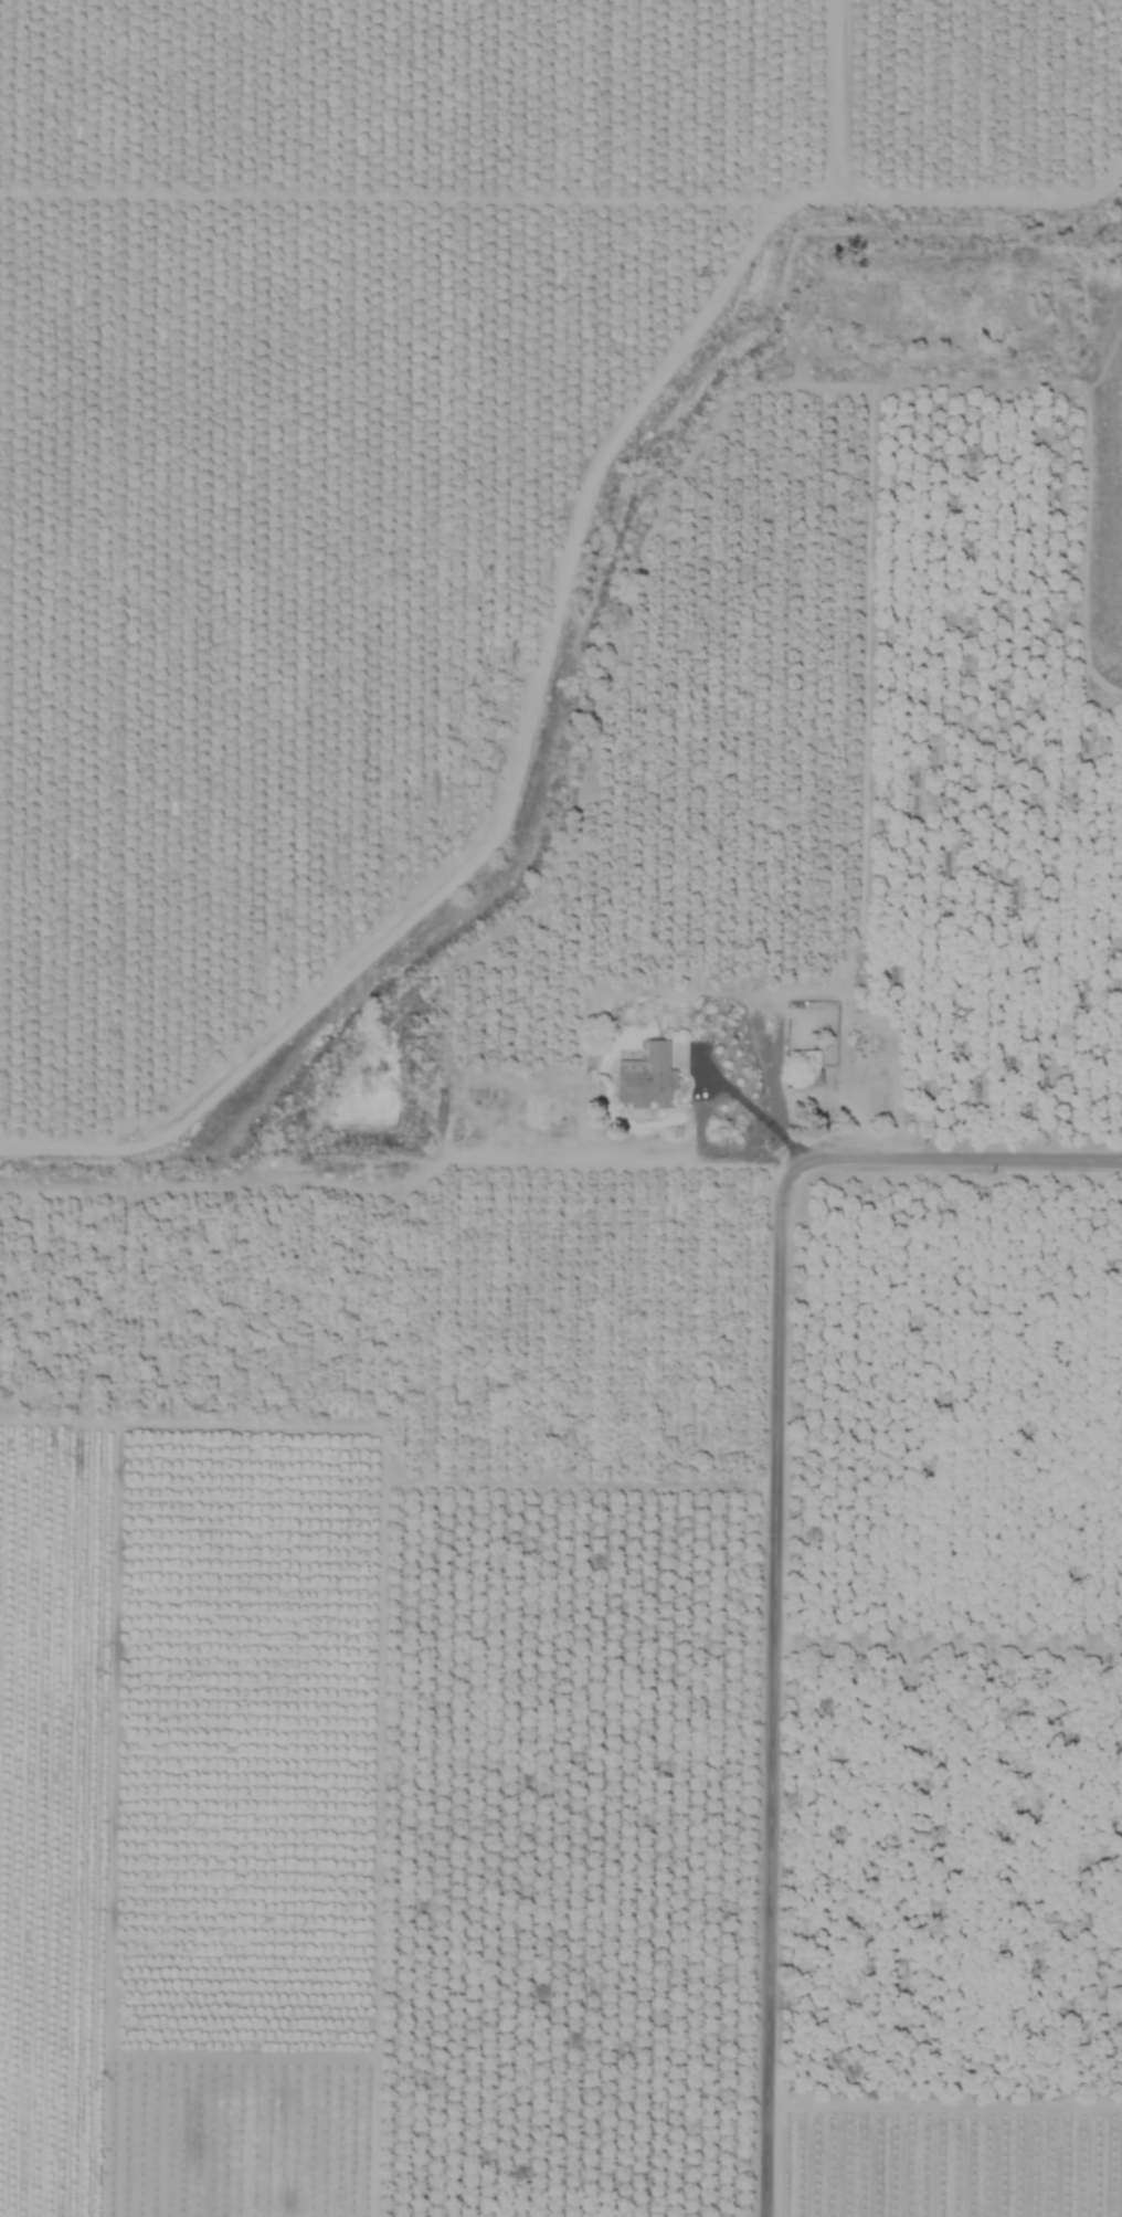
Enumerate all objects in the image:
building: (805, 1058)
building: (646, 1078)
crop: (561, 1108)
road: (754, 1112)
road: (559, 1153)
road: (773, 1681)

